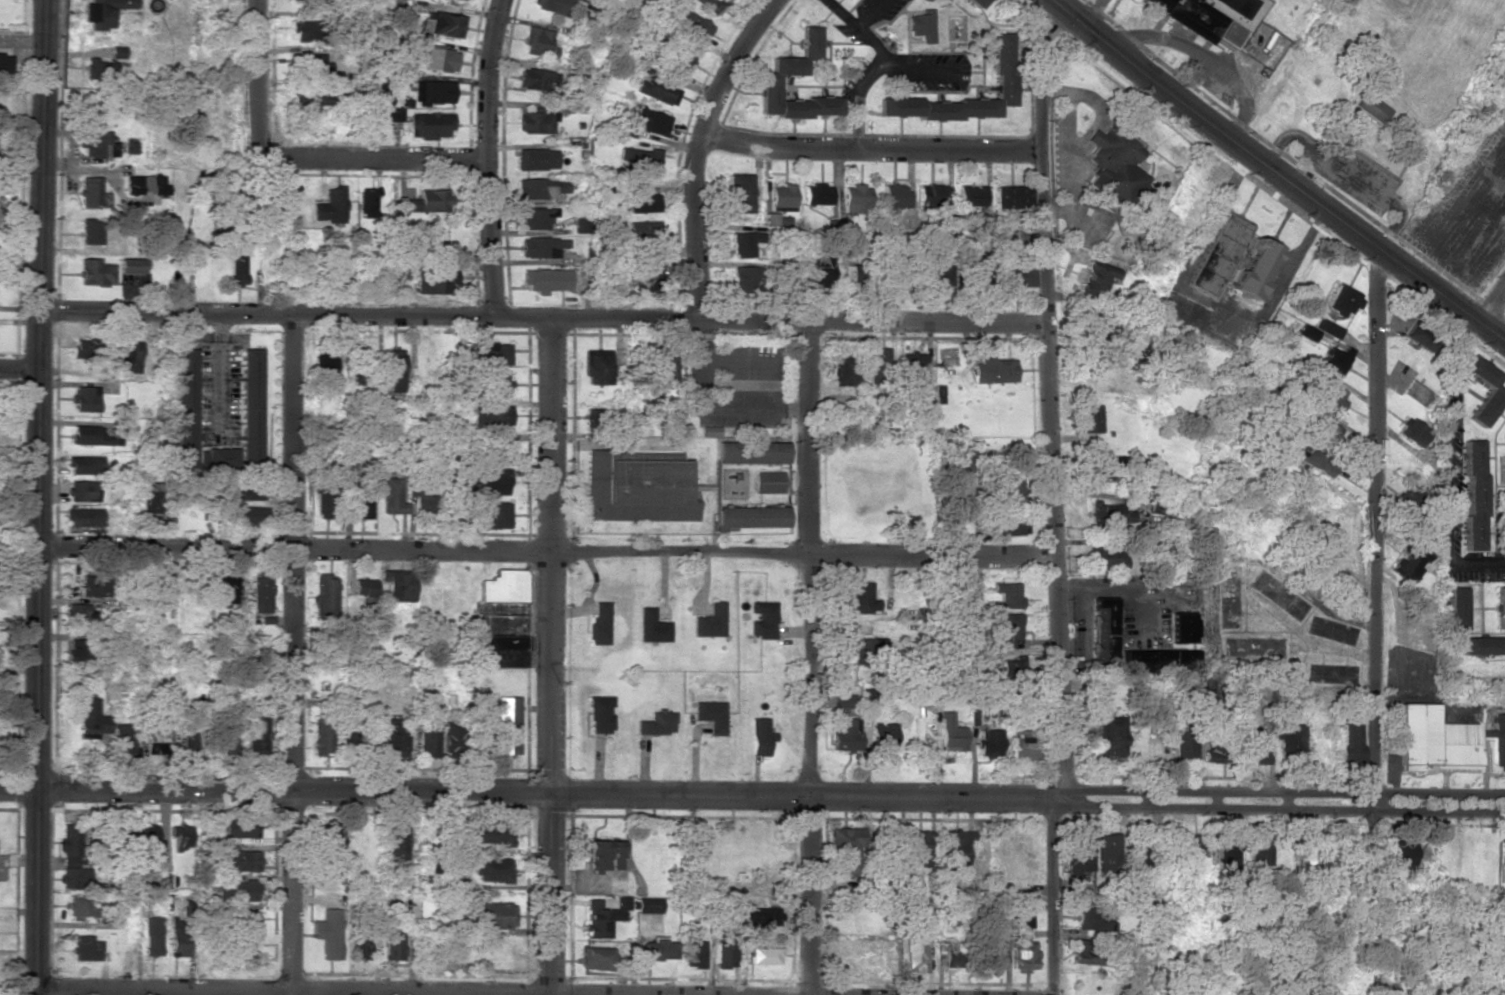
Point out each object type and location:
building: (306, 1)
building: (975, 2)
building: (1156, 4)
building: (551, 5)
building: (709, 5)
building: (104, 12)
road: (1093, 14)
building: (1193, 18)
building: (440, 24)
building: (921, 24)
building: (696, 27)
building: (305, 30)
building: (1228, 33)
building: (538, 42)
building: (439, 59)
building: (675, 60)
building: (4, 63)
building: (304, 63)
building: (99, 70)
building: (781, 72)
road: (258, 79)
building: (537, 79)
building: (1003, 85)
building: (657, 90)
building: (432, 91)
building: (310, 95)
building: (1372, 107)
building: (392, 114)
building: (536, 121)
building: (649, 122)
building: (429, 125)
road: (872, 141)
building: (98, 145)
road: (702, 149)
road: (482, 157)
road: (371, 158)
building: (637, 158)
building: (535, 159)
building: (1113, 165)
road: (1278, 172)
building: (152, 190)
building: (533, 190)
building: (91, 192)
building: (736, 193)
building: (815, 194)
building: (929, 194)
building: (970, 195)
building: (893, 196)
building: (779, 197)
building: (1010, 197)
building: (854, 199)
building: (429, 201)
building: (366, 202)
building: (643, 203)
building: (329, 206)
building: (535, 218)
building: (766, 218)
building: (580, 225)
building: (642, 230)
building: (90, 231)
building: (743, 243)
building: (541, 247)
building: (1220, 254)
building: (129, 266)
building: (818, 268)
building: (1256, 269)
building: (237, 270)
building: (334, 271)
building: (95, 272)
building: (852, 273)
building: (655, 274)
building: (936, 275)
building: (1014, 275)
building: (1097, 276)
building: (545, 279)
building: (745, 279)
building: (433, 282)
building: (1340, 301)
road: (1493, 307)
road: (543, 320)
building: (1088, 322)
building: (1327, 328)
building: (1309, 333)
building: (1420, 334)
building: (85, 348)
building: (128, 355)
building: (1335, 360)
building: (911, 364)
building: (876, 365)
building: (596, 366)
building: (324, 367)
building: (665, 367)
building: (843, 368)
building: (394, 370)
building: (995, 370)
road: (19, 371)
building: (500, 383)
building: (1494, 390)
building: (1330, 395)
building: (84, 399)
building: (250, 406)
building: (184, 408)
building: (490, 416)
building: (1092, 418)
building: (592, 419)
building: (1412, 431)
building: (1326, 433)
building: (86, 434)
building: (501, 451)
building: (751, 452)
building: (217, 458)
building: (1316, 459)
building: (84, 465)
building: (1111, 465)
building: (769, 482)
building: (491, 483)
building: (637, 489)
building: (1011, 490)
building: (81, 491)
building: (247, 493)
building: (1473, 495)
road: (40, 497)
building: (391, 497)
road: (1054, 497)
building: (150, 499)
building: (425, 500)
building: (323, 502)
building: (360, 503)
building: (451, 507)
building: (1114, 514)
building: (244, 515)
building: (493, 515)
building: (85, 517)
building: (750, 517)
building: (1015, 526)
road: (549, 550)
building: (1107, 557)
road: (549, 558)
building: (1408, 563)
building: (91, 586)
building: (399, 586)
building: (503, 586)
building: (363, 587)
building: (224, 589)
building: (158, 592)
building: (260, 594)
building: (1007, 594)
building: (324, 596)
building: (860, 596)
building: (1454, 607)
building: (1500, 607)
building: (80, 614)
road: (1371, 619)
building: (762, 620)
building: (710, 621)
building: (599, 623)
building: (651, 626)
building: (1182, 627)
building: (1005, 628)
building: (1103, 632)
building: (1480, 645)
building: (498, 647)
building: (77, 649)
building: (865, 649)
road: (292, 654)
road: (811, 660)
building: (1155, 660)
building: (1011, 665)
building: (1210, 686)
building: (844, 700)
building: (600, 714)
building: (711, 715)
building: (91, 719)
building: (657, 723)
building: (506, 726)
building: (346, 728)
building: (190, 729)
building: (950, 733)
building: (845, 734)
building: (257, 735)
building: (450, 735)
building: (884, 735)
building: (226, 736)
building: (760, 736)
building: (321, 737)
building: (392, 737)
building: (427, 737)
building: (1109, 737)
building: (155, 738)
building: (123, 739)
building: (1443, 740)
building: (989, 743)
building: (1185, 743)
building: (1351, 743)
building: (1290, 744)
building: (1218, 745)
building: (1020, 746)
building: (1254, 748)
road: (275, 790)
road: (1028, 799)
building: (242, 826)
building: (119, 830)
building: (148, 836)
building: (181, 836)
building: (96, 841)
building: (398, 843)
building: (1195, 844)
building: (71, 845)
building: (956, 846)
building: (848, 848)
building: (917, 848)
building: (1260, 849)
building: (1107, 850)
building: (1139, 850)
building: (1310, 851)
building: (1399, 853)
building: (1079, 854)
building: (603, 855)
building: (1228, 855)
building: (240, 860)
building: (1502, 861)
building: (74, 878)
building: (235, 890)
road: (550, 895)
building: (1088, 898)
building: (648, 905)
building: (81, 906)
building: (606, 912)
building: (492, 915)
building: (751, 918)
building: (1092, 918)
building: (246, 921)
building: (328, 933)
building: (152, 936)
building: (178, 937)
building: (394, 942)
building: (359, 943)
building: (1023, 944)
building: (87, 948)
building: (657, 948)
building: (245, 950)
building: (725, 950)
building: (1086, 952)
building: (915, 953)
building: (694, 954)
building: (992, 954)
building: (763, 956)
building: (947, 956)
building: (596, 958)
building: (859, 961)
road: (292, 990)

